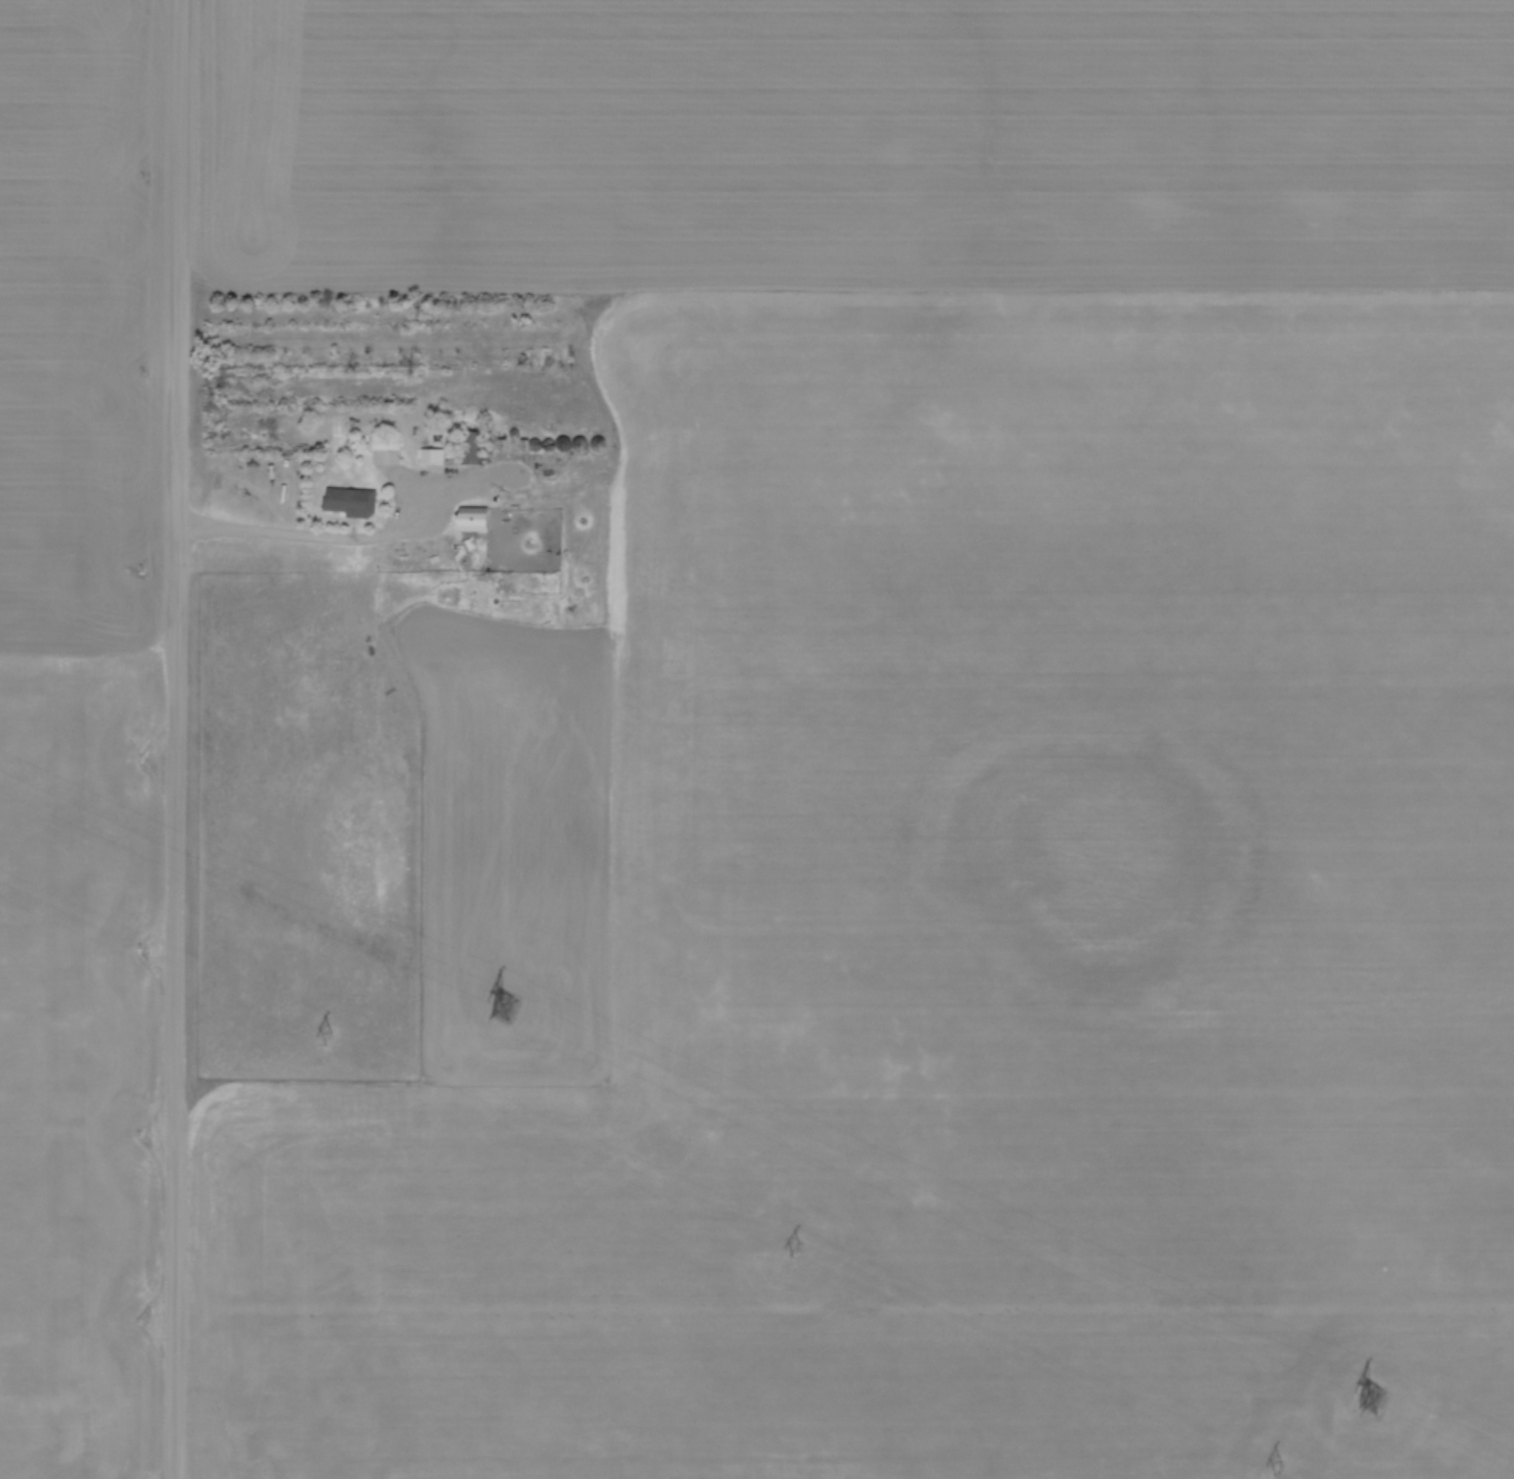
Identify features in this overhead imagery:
silo: (515, 433)
building: (386, 441)
building: (503, 444)
silo: (552, 444)
silo: (566, 444)
silo: (583, 444)
silo: (599, 444)
building: (524, 445)
silo: (537, 445)
building: (473, 446)
building: (432, 455)
building: (351, 501)
building: (475, 518)
road: (334, 538)
crop: (81, 732)
road: (180, 739)
crop: (884, 759)
power tower: (501, 1005)
power tower: (322, 1035)
power tower: (793, 1250)
power tower: (1372, 1397)
power tower: (1271, 1467)

